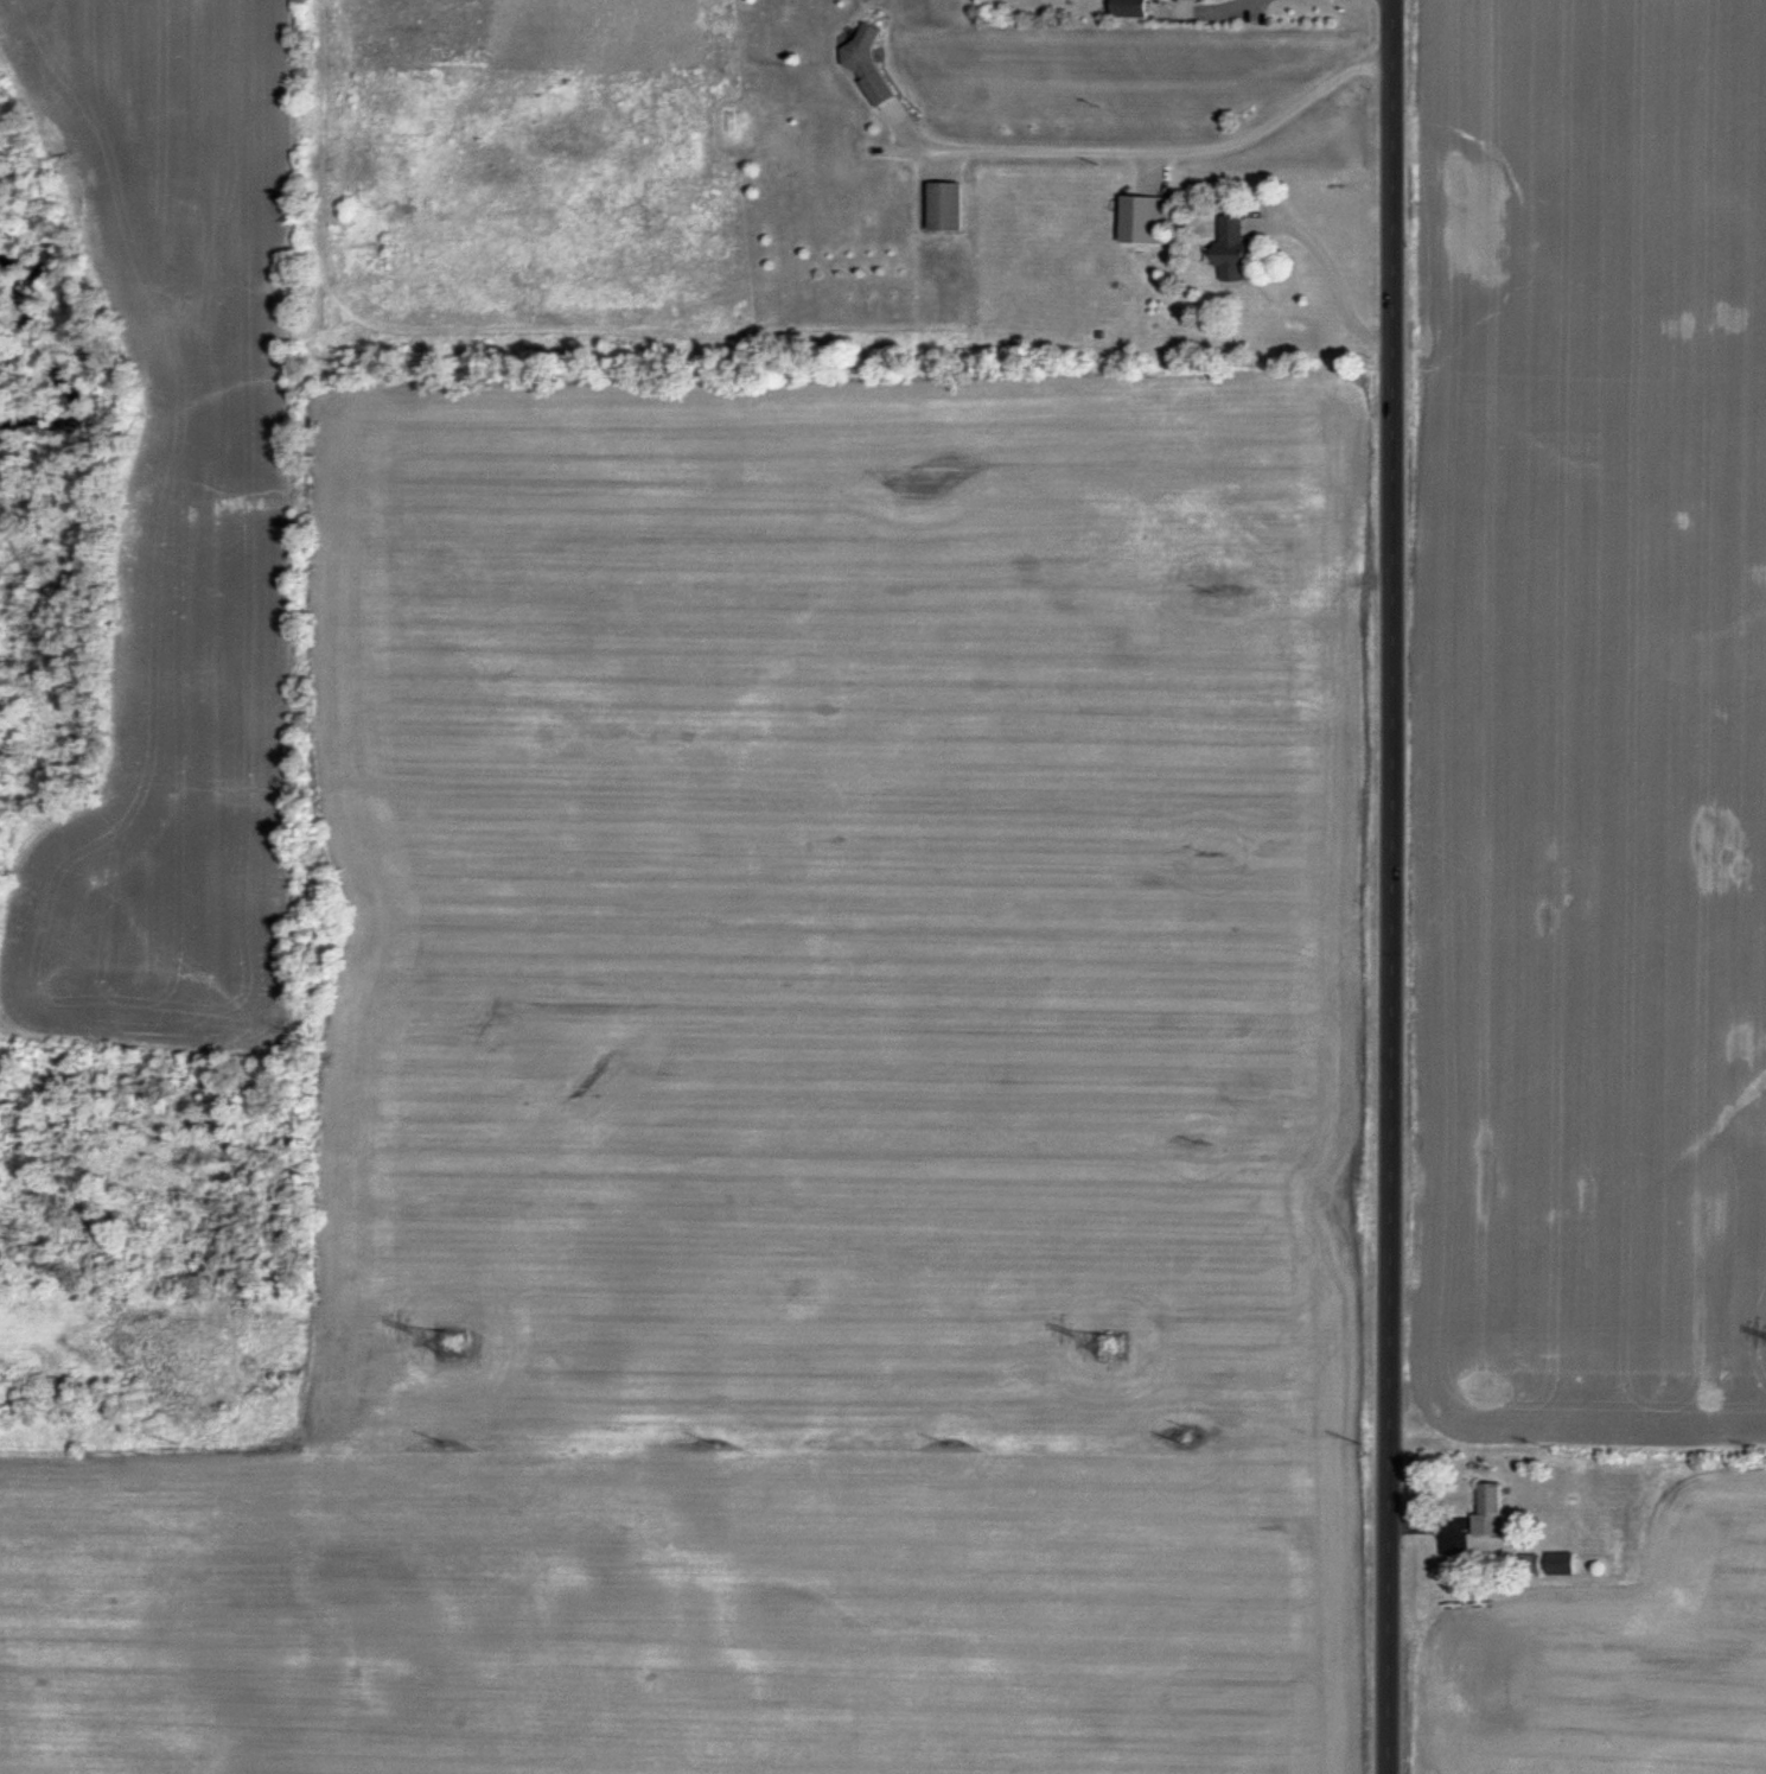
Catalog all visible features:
building: (1184, 0)
building: (1129, 7)
road: (1220, 7)
building: (867, 57)
road: (1159, 154)
building: (945, 208)
building: (1139, 220)
building: (1229, 247)
road: (1331, 275)
crop: (1575, 882)
road: (1385, 886)
crop: (691, 888)
power tower: (453, 1343)
power tower: (1110, 1346)
building: (1490, 1509)
building: (1560, 1563)
building: (1531, 1564)

